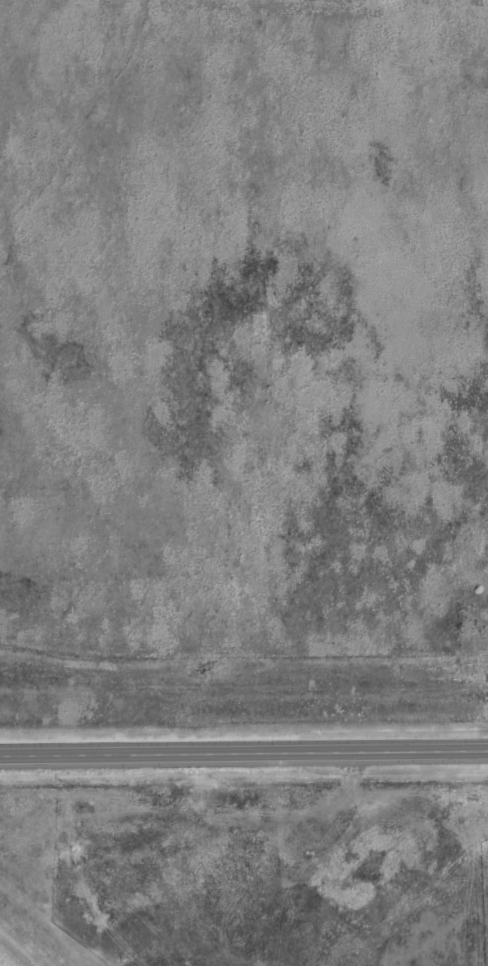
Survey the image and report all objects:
road: (244, 752)

